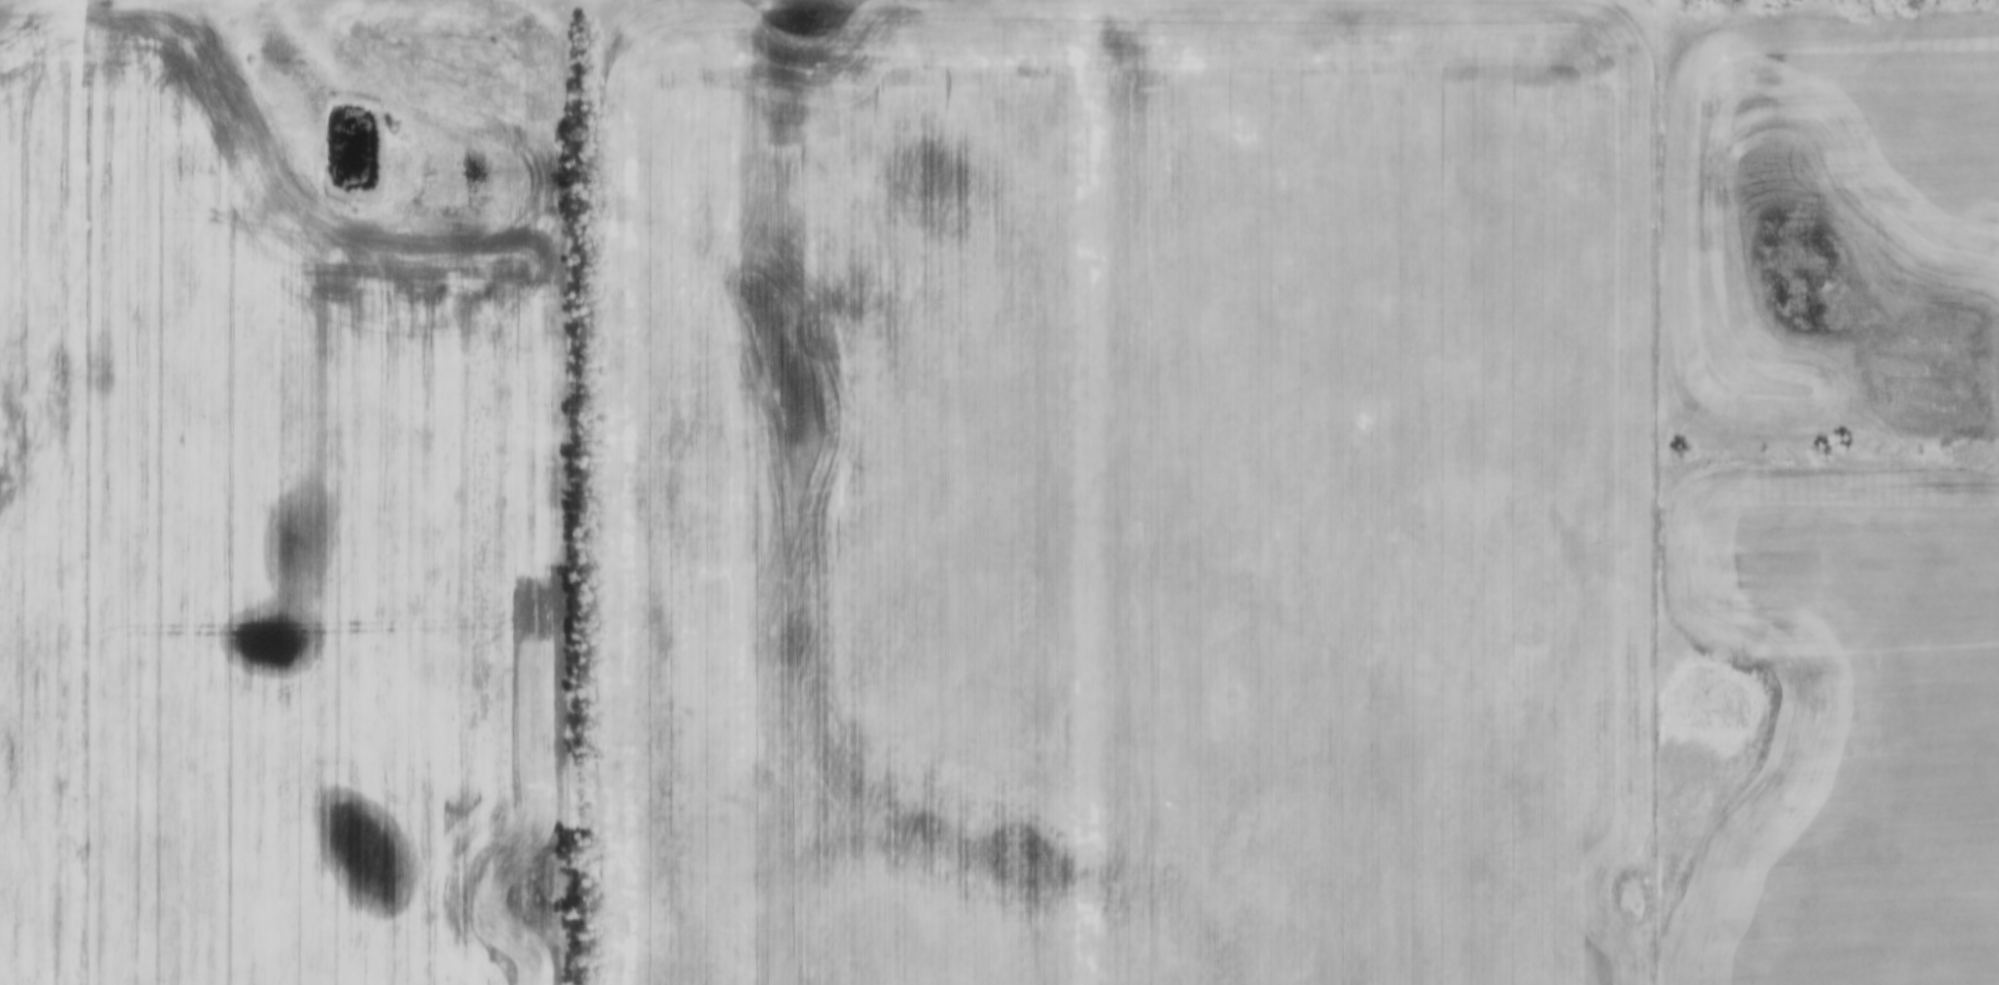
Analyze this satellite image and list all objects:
road: (1648, 492)

